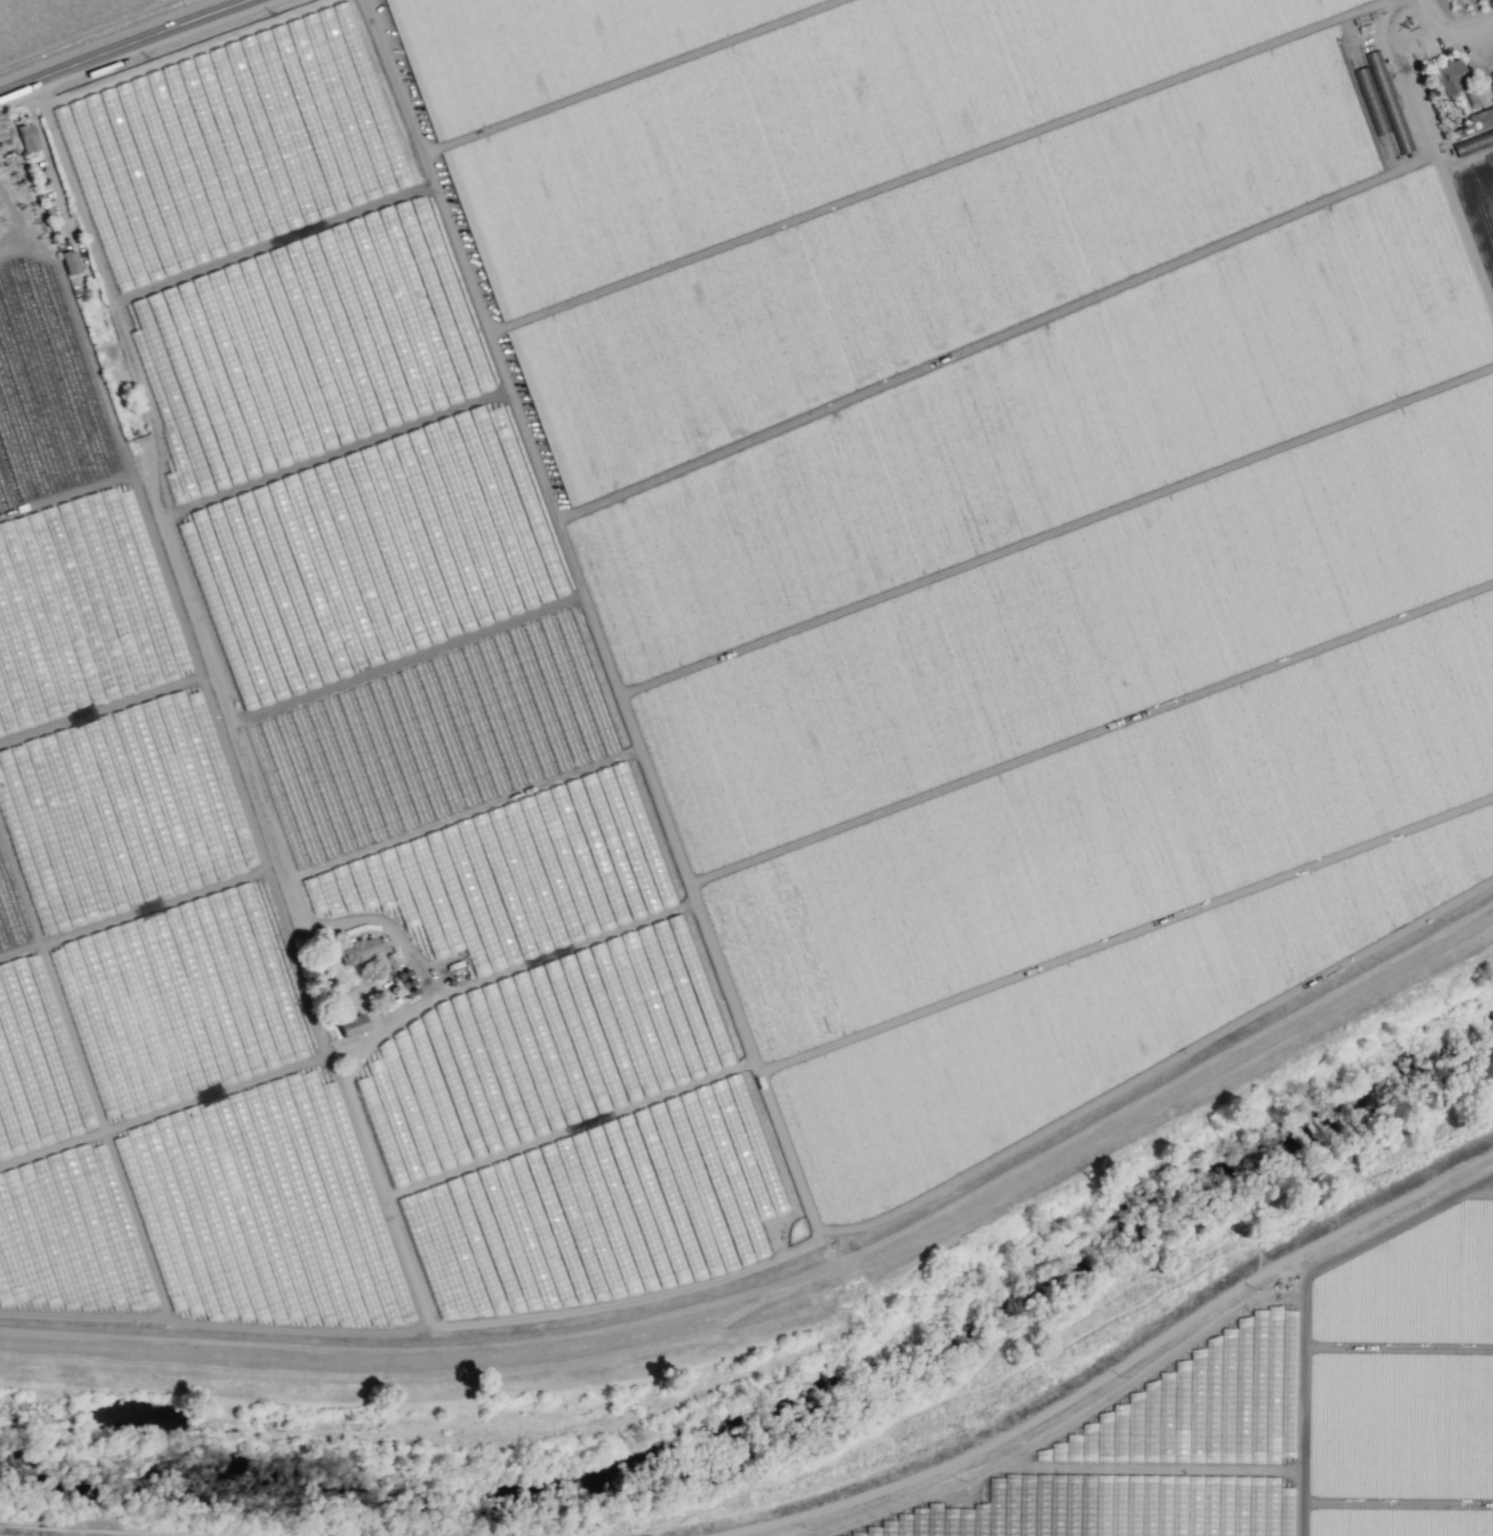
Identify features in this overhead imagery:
road: (1456, 20)
crop: (64, 25)
road: (131, 47)
building: (1450, 75)
building: (1491, 76)
building: (1470, 100)
building: (1477, 121)
building: (1397, 128)
road: (421, 130)
building: (27, 137)
building: (1473, 142)
building: (223, 145)
road: (276, 242)
road: (95, 248)
building: (70, 261)
road: (334, 452)
building: (132, 580)
road: (407, 659)
road: (605, 661)
crop: (717, 682)
building: (133, 787)
road: (462, 813)
building: (360, 949)
road: (560, 949)
building: (346, 1026)
building: (103, 1071)
building: (364, 1090)
building: (148, 1218)
road: (411, 1279)
building: (630, 1286)
building: (1228, 1335)
building: (1214, 1406)
crop: (1274, 1421)
river: (787, 1423)
road: (641, 1505)
building: (933, 1507)
building: (911, 1515)

